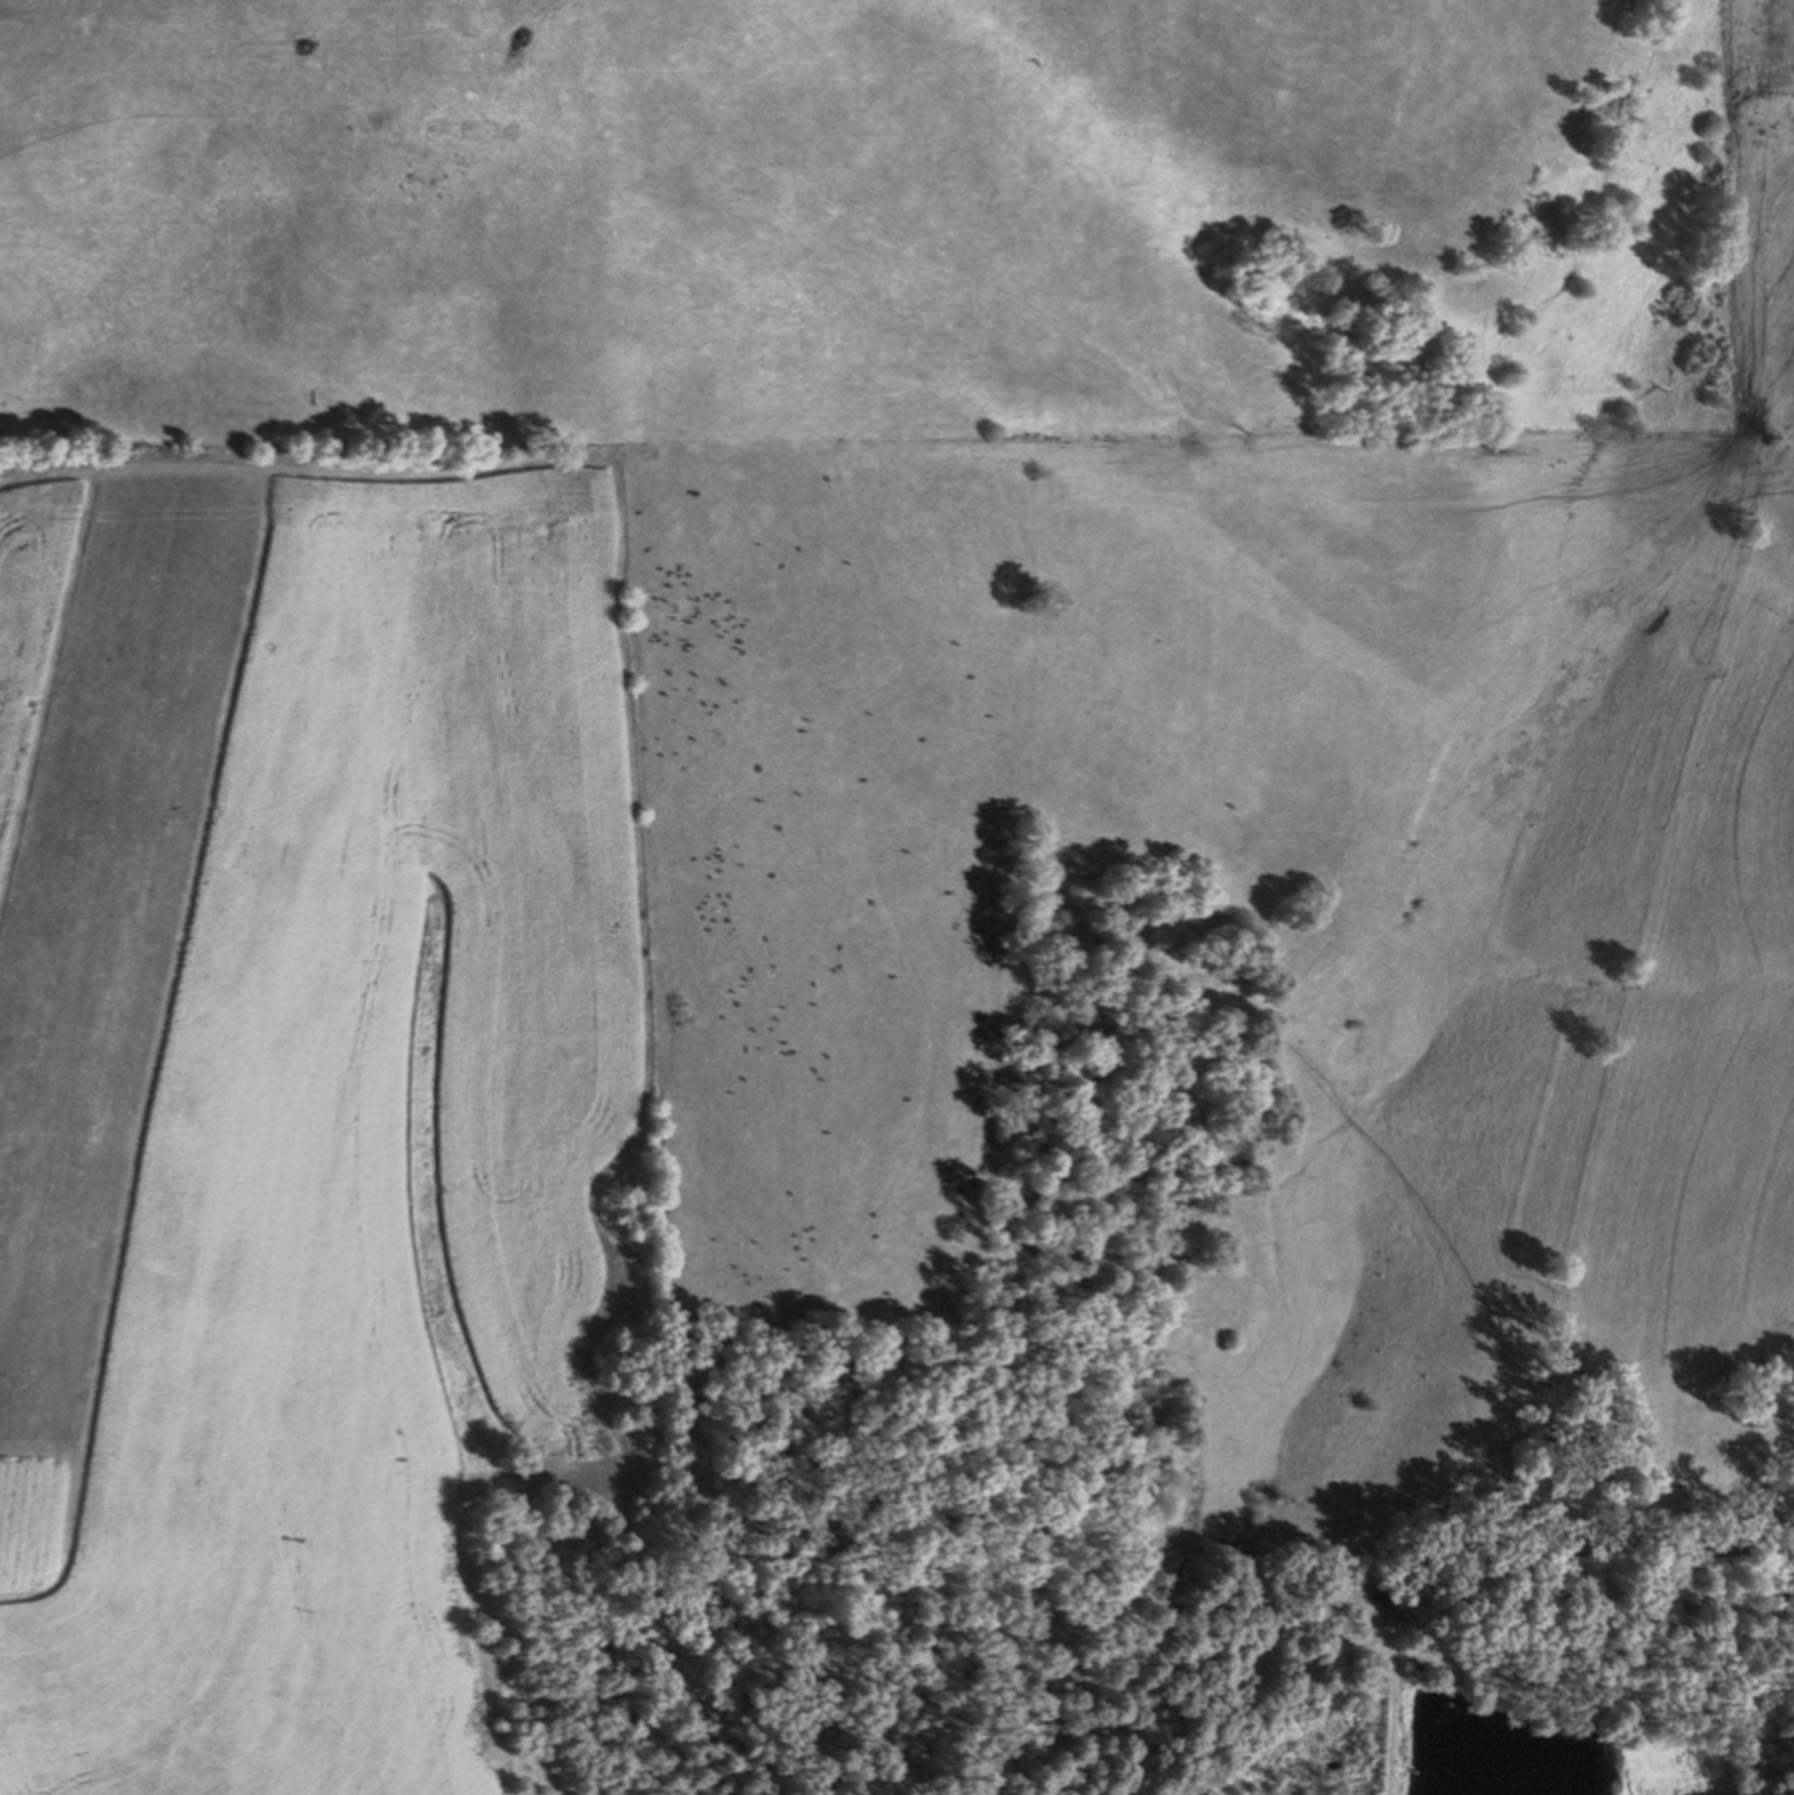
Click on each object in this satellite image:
building: (1380, 1596)

